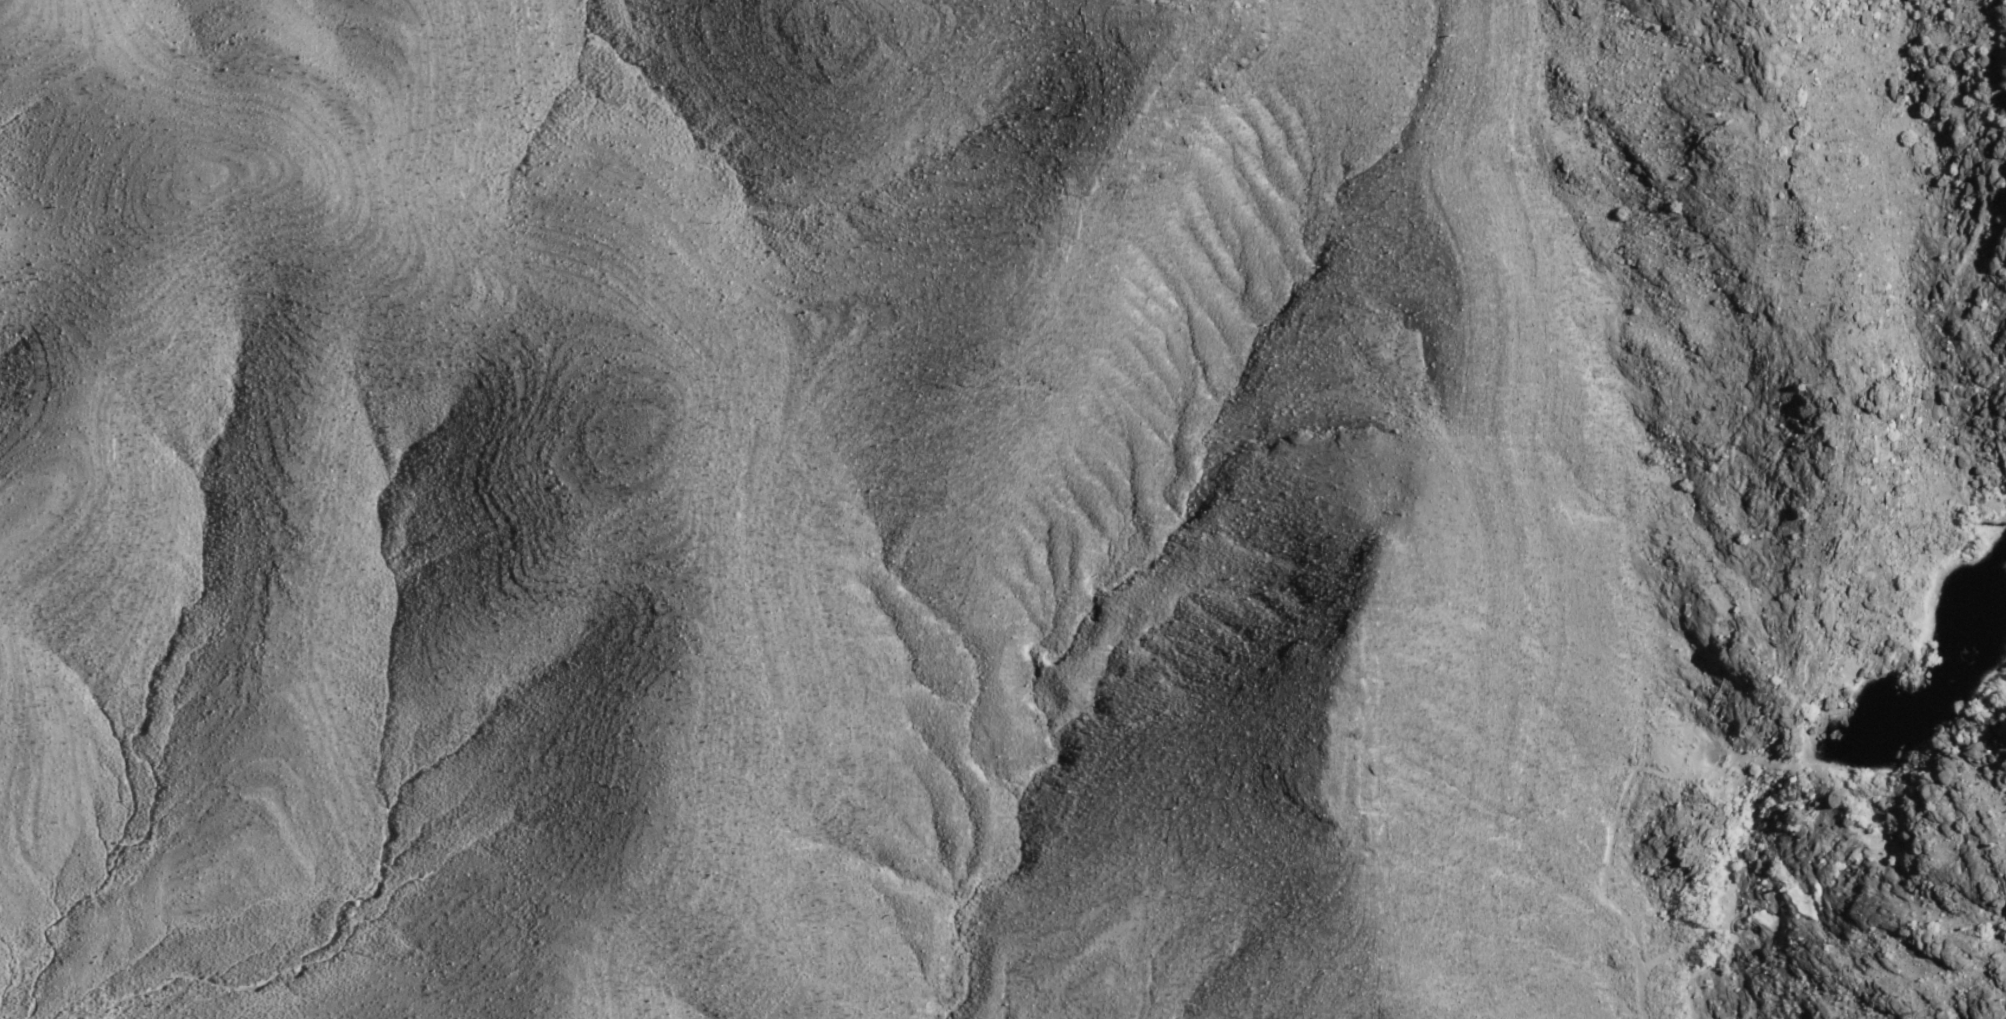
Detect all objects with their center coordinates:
road: (1651, 979)

